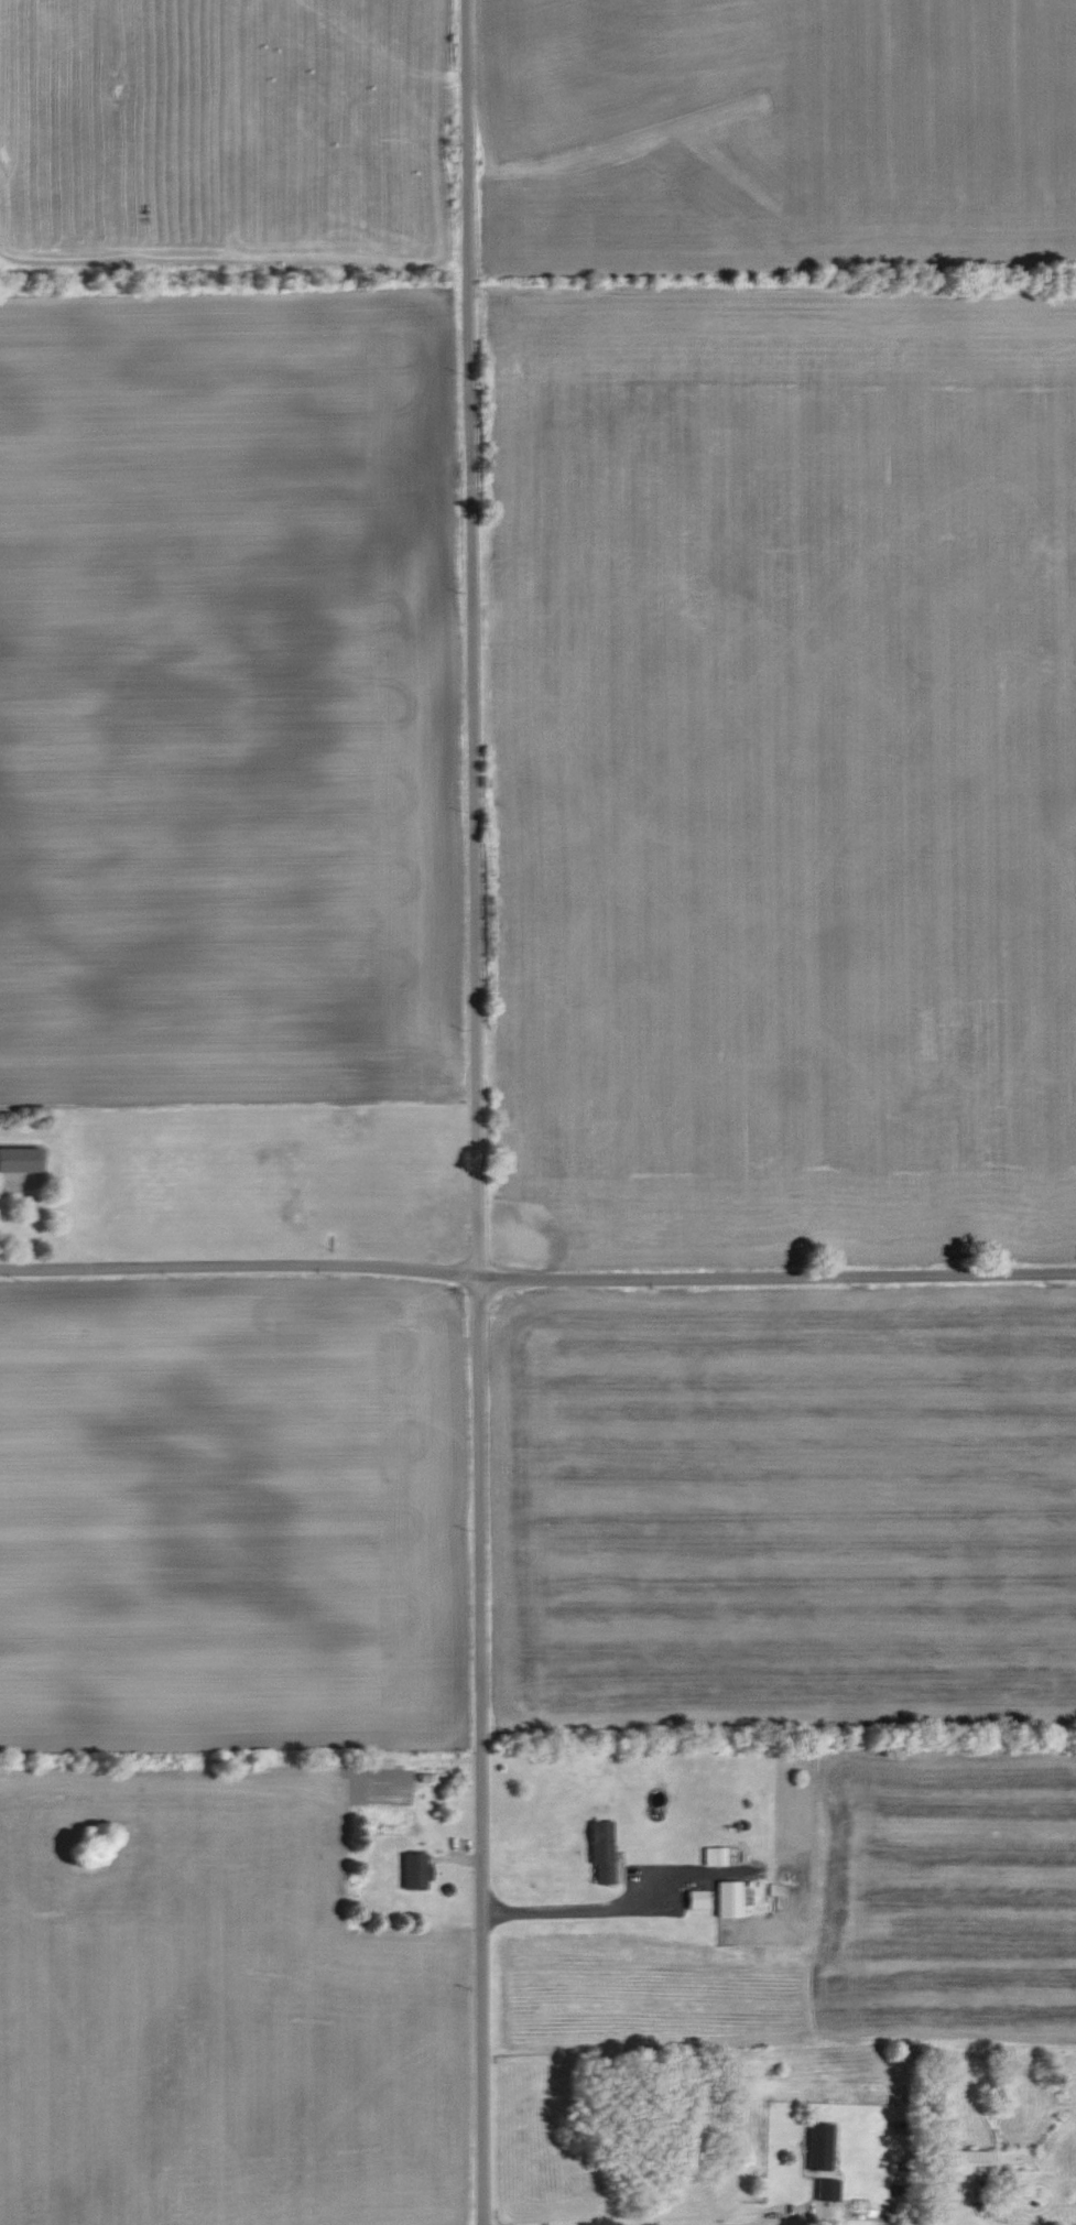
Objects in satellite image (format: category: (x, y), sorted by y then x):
road: (475, 1111)
building: (21, 1159)
road: (238, 1267)
road: (776, 1278)
building: (1064, 1379)
building: (604, 1853)
building: (716, 1856)
building: (417, 1870)
building: (698, 1899)
building: (730, 1899)
road: (569, 1910)
building: (818, 2160)
building: (965, 2161)
building: (861, 2212)
road: (761, 2224)

